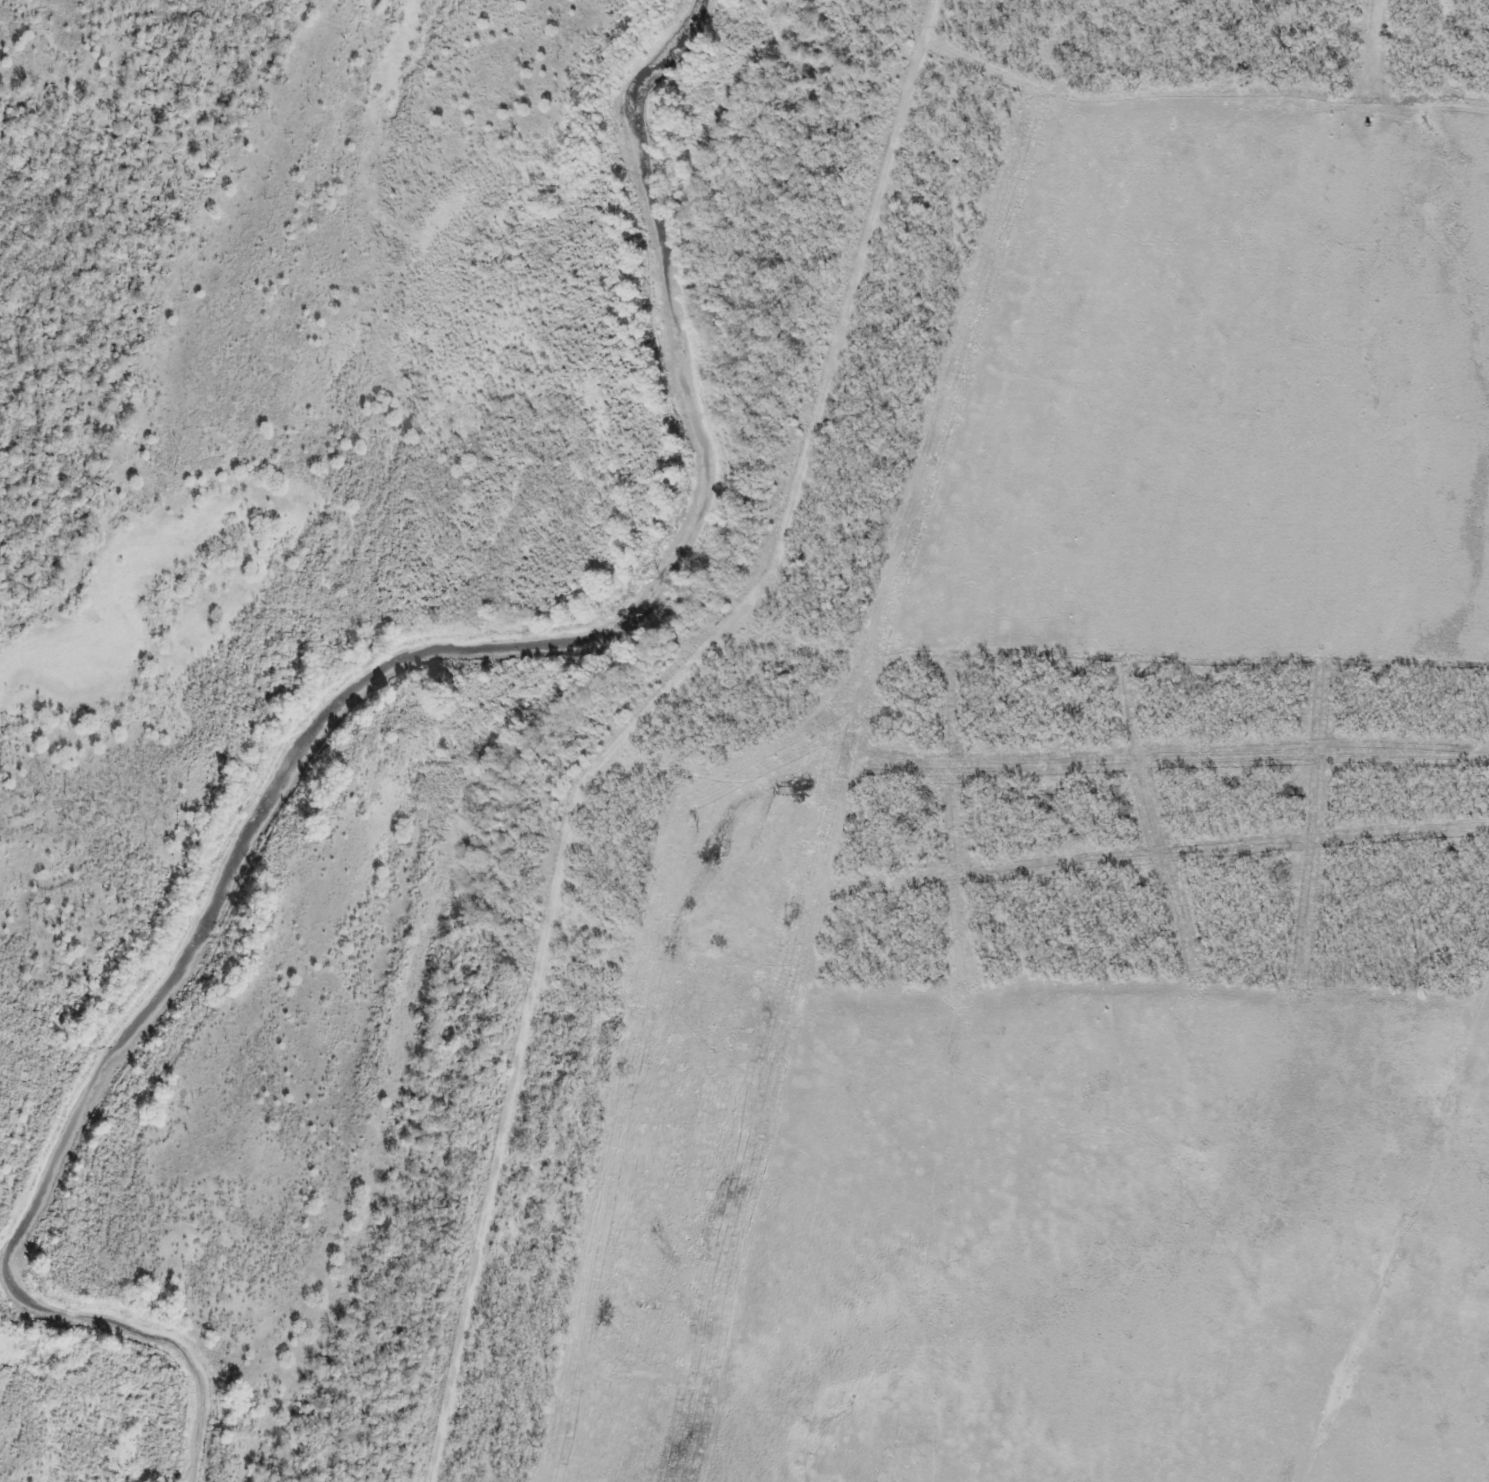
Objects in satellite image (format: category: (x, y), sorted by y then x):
river: (366, 697)
road: (627, 748)

